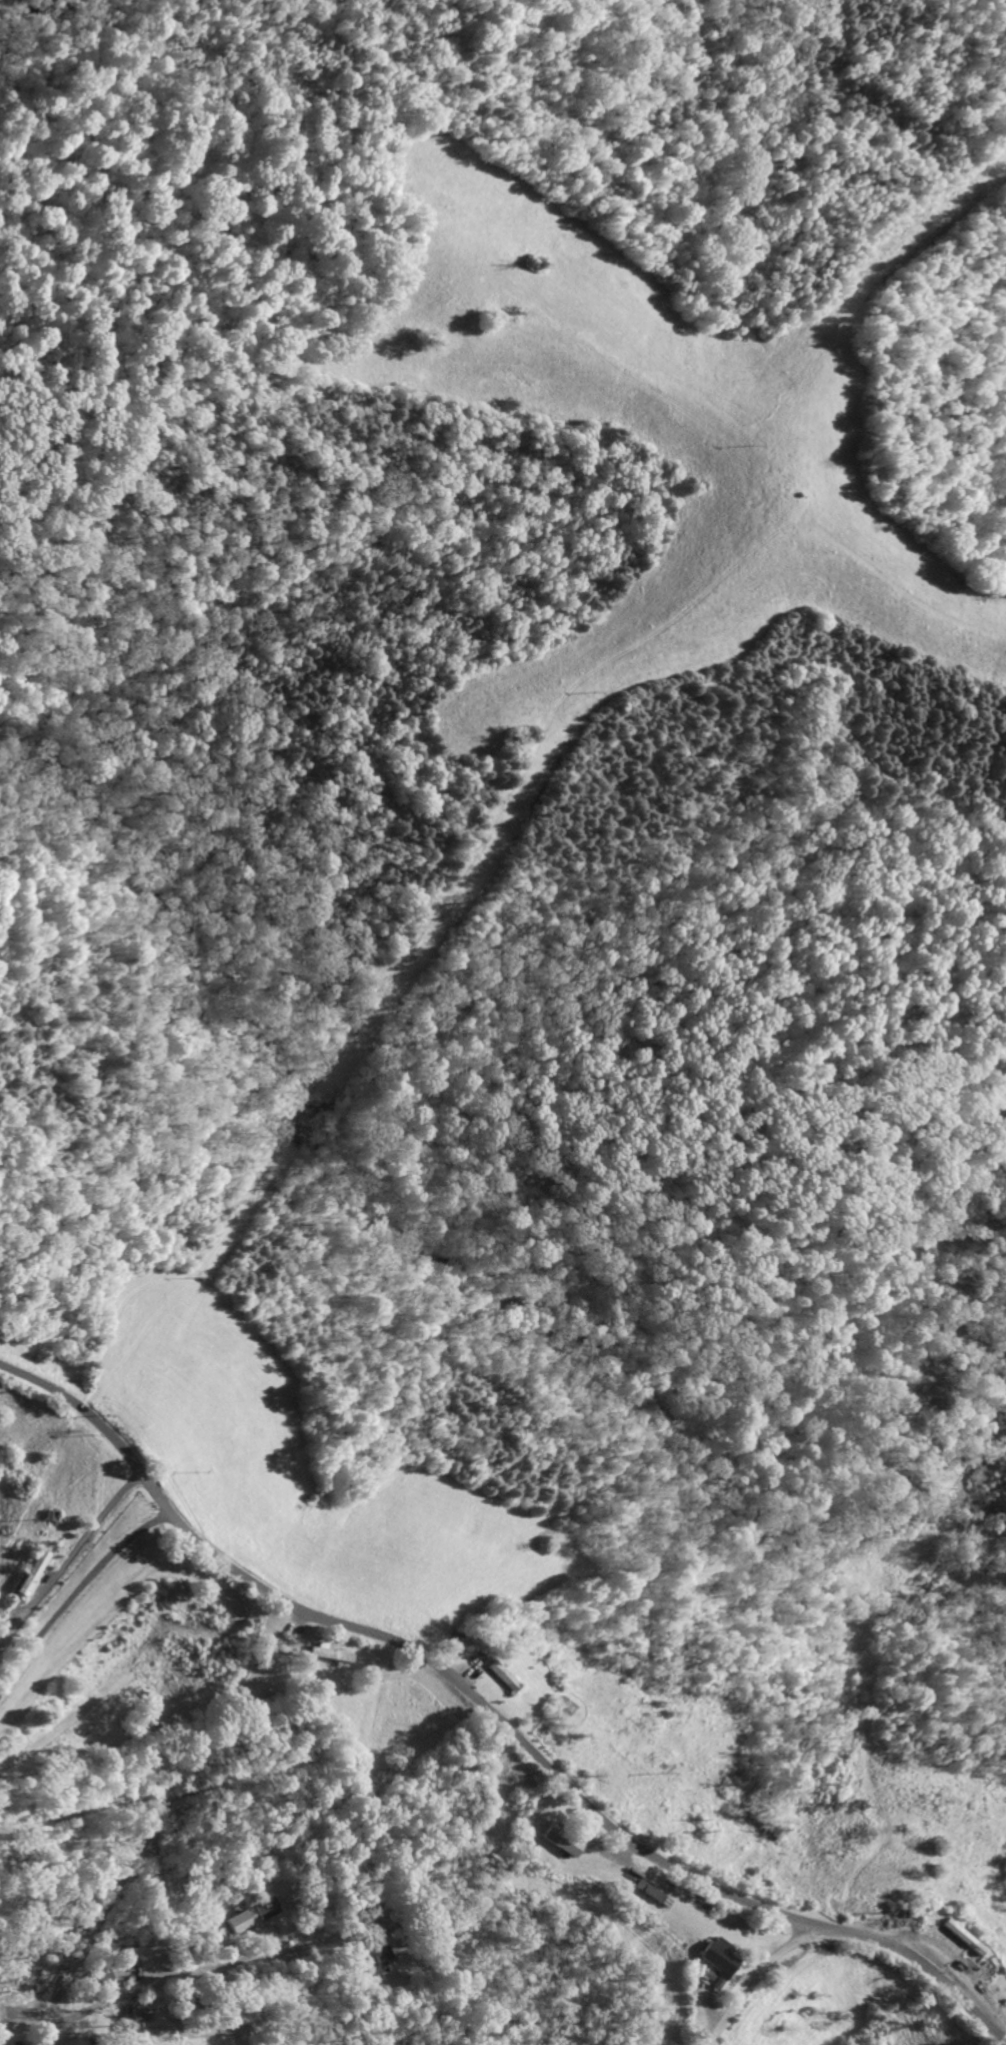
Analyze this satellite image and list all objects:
road: (68, 1554)
building: (32, 1574)
road: (72, 1584)
building: (324, 1654)
building: (501, 1677)
road: (494, 1715)
road: (117, 1810)
building: (551, 1843)
building: (646, 1895)
building: (265, 1908)
road: (107, 1920)
building: (237, 1921)
building: (368, 1957)
road: (208, 1966)
road: (753, 1974)

